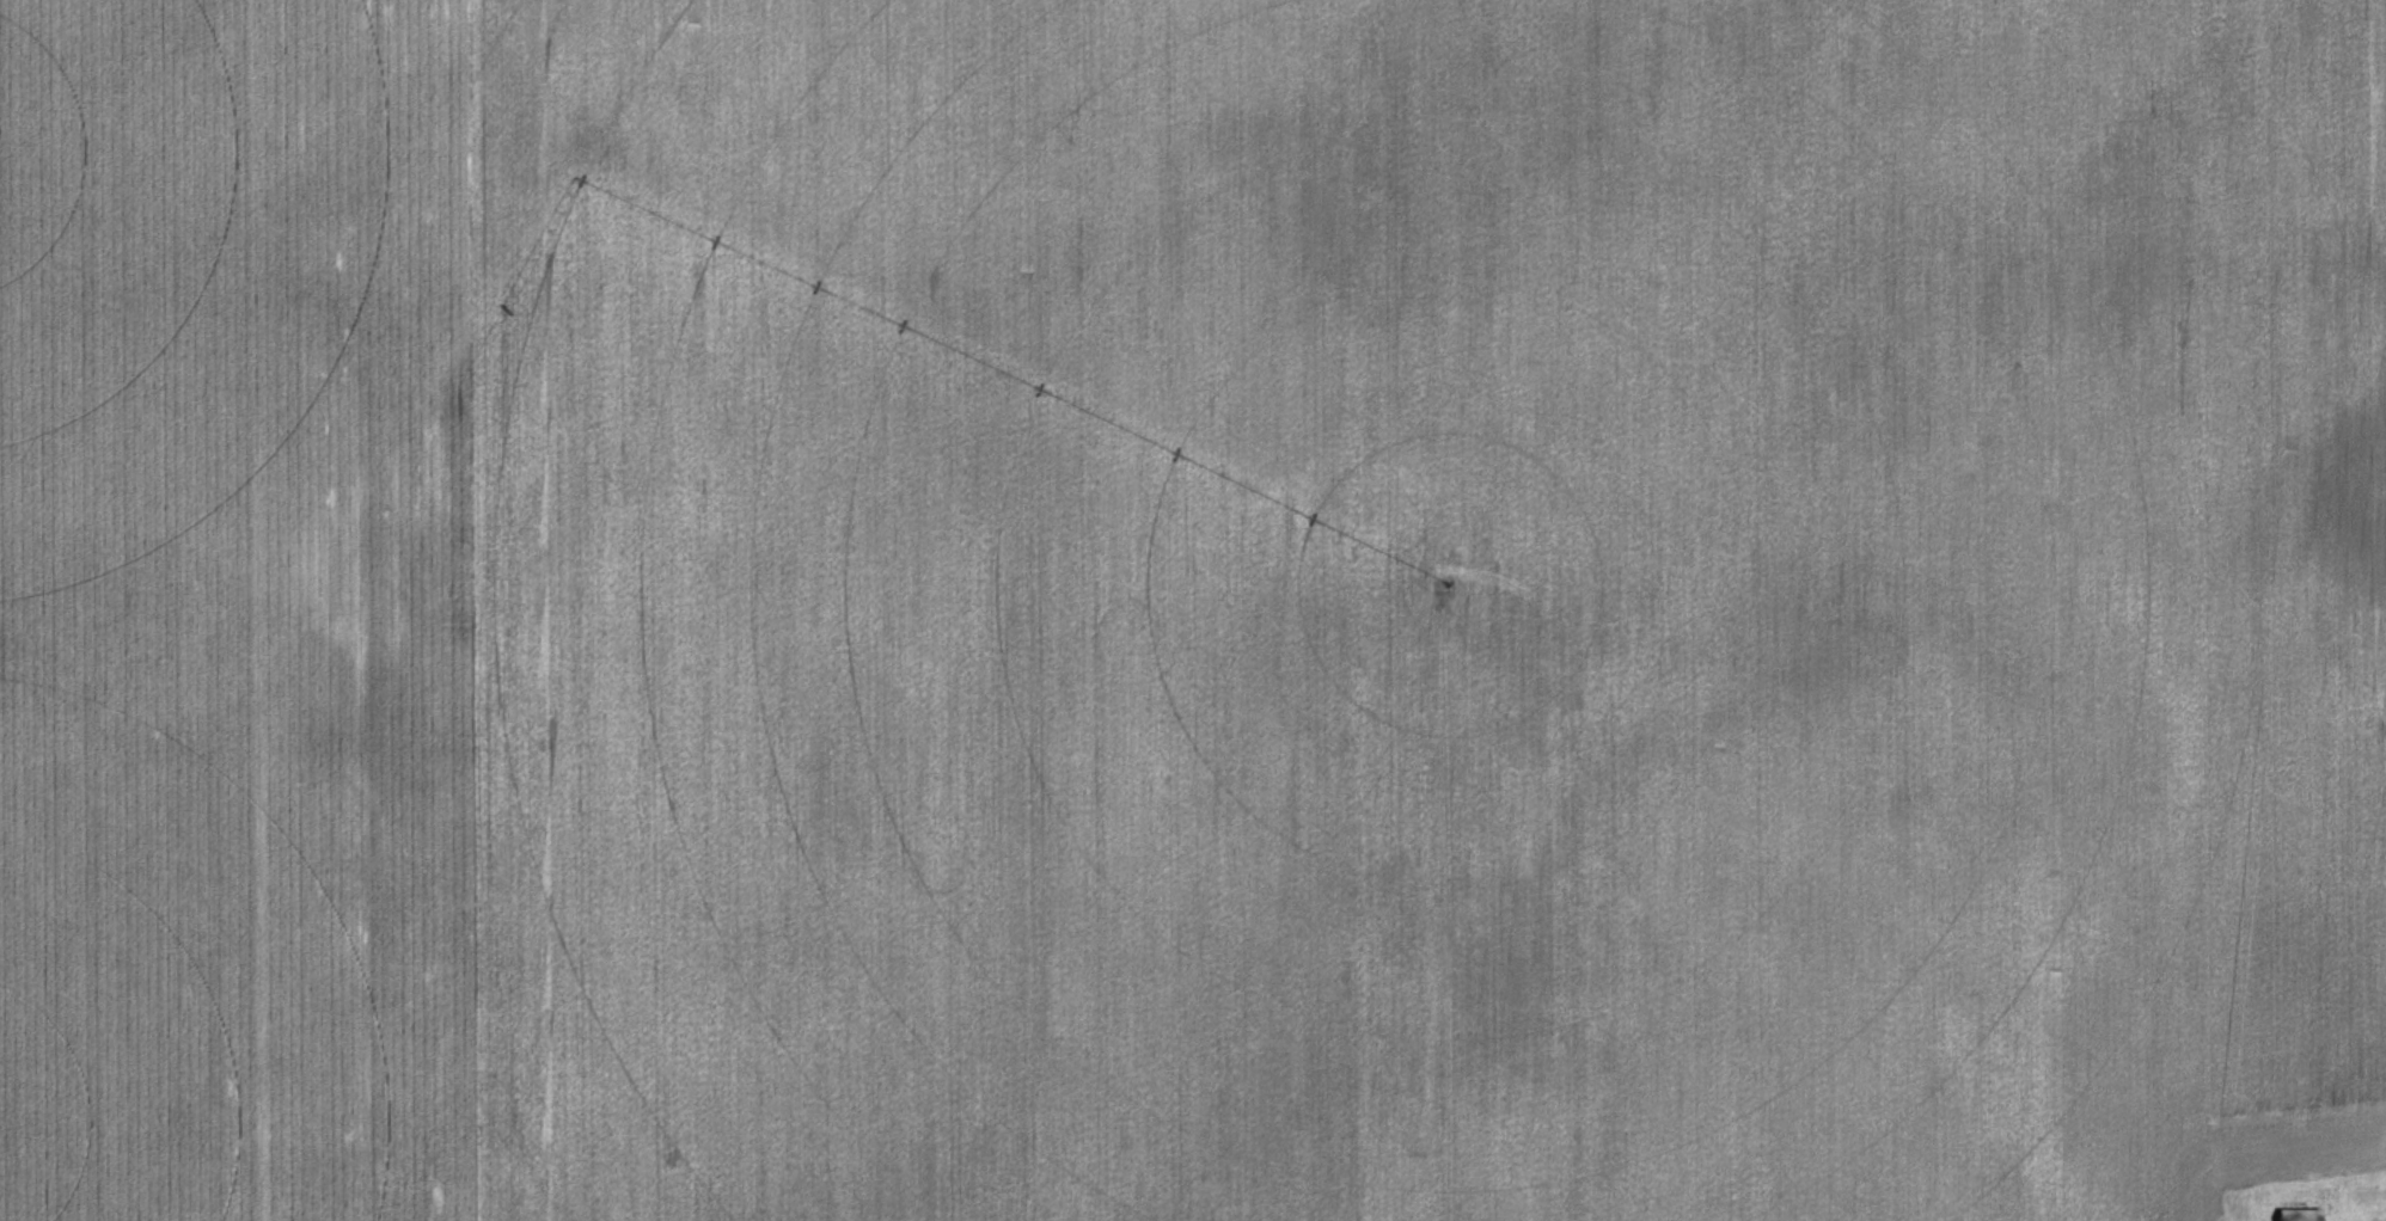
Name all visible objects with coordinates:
building: (2296, 1216)

